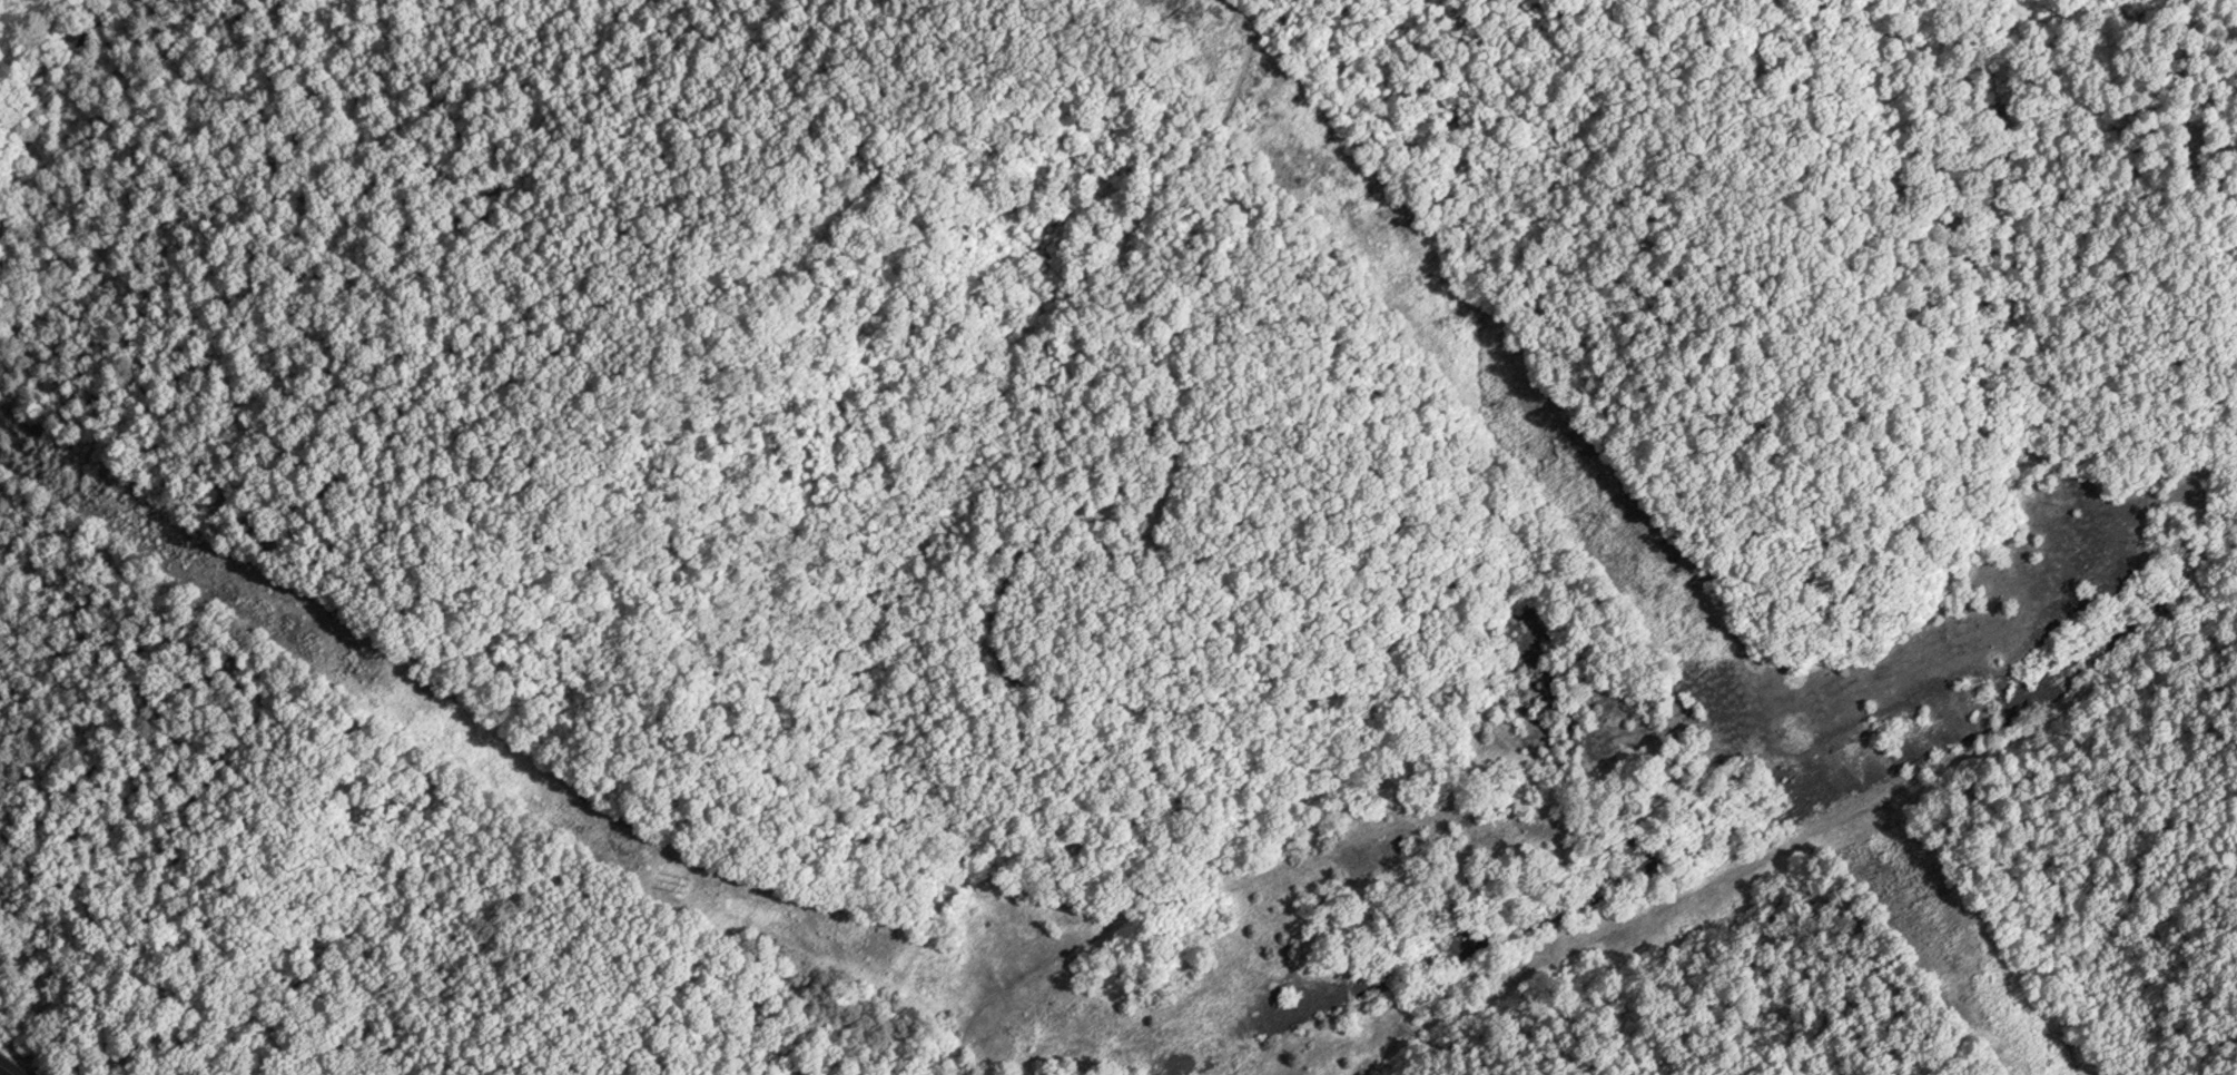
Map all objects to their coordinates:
power tower: (1195, 19)
power tower: (1605, 522)

